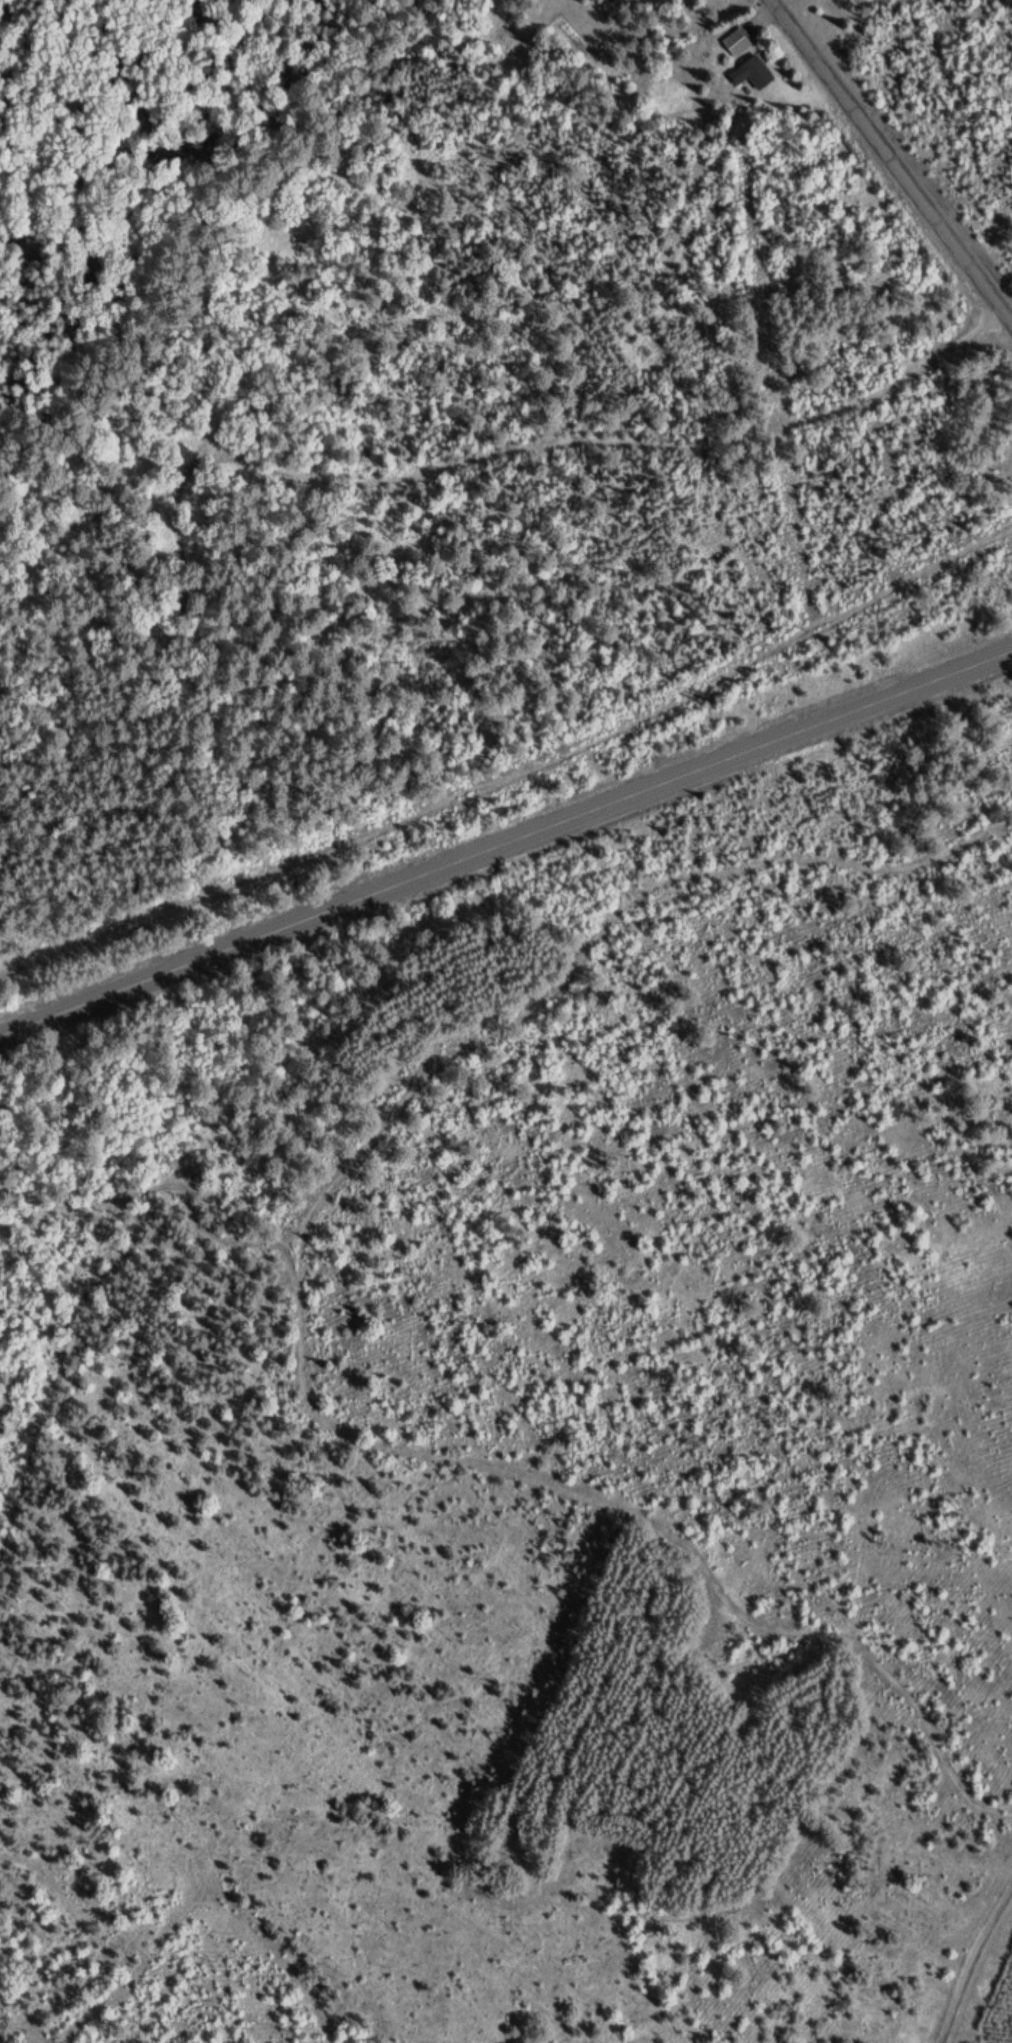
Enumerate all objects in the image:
building: (736, 46)
building: (752, 76)
road: (892, 163)
road: (596, 443)
road: (506, 845)
road: (970, 1961)

